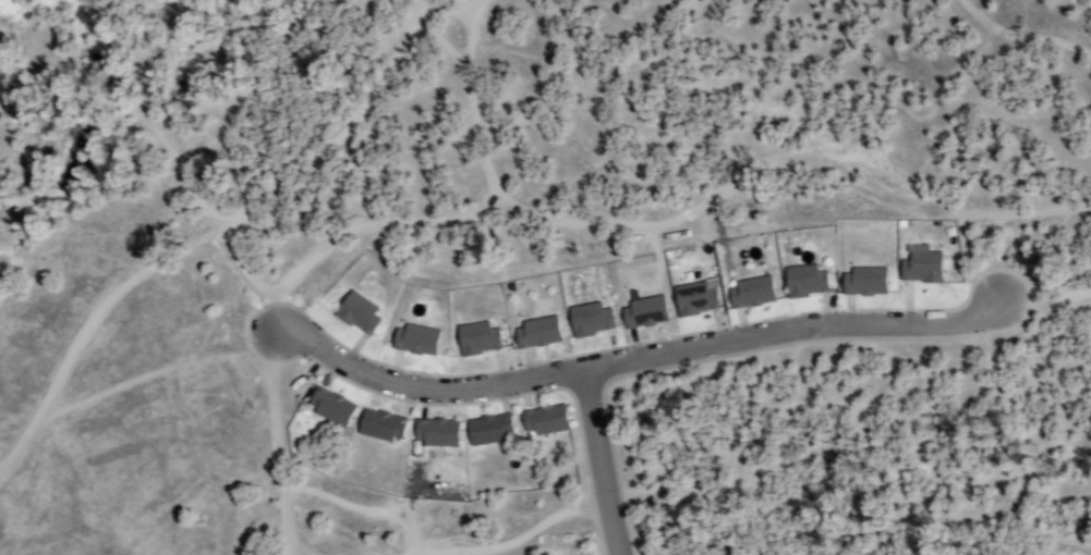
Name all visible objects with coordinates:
building: (920, 266)
building: (804, 282)
building: (863, 283)
building: (750, 294)
building: (694, 300)
building: (356, 313)
building: (643, 313)
building: (589, 319)
road: (791, 330)
building: (536, 334)
building: (476, 340)
building: (414, 341)
road: (420, 387)
building: (329, 407)
building: (543, 421)
building: (379, 427)
building: (487, 430)
building: (435, 433)
road: (596, 462)

